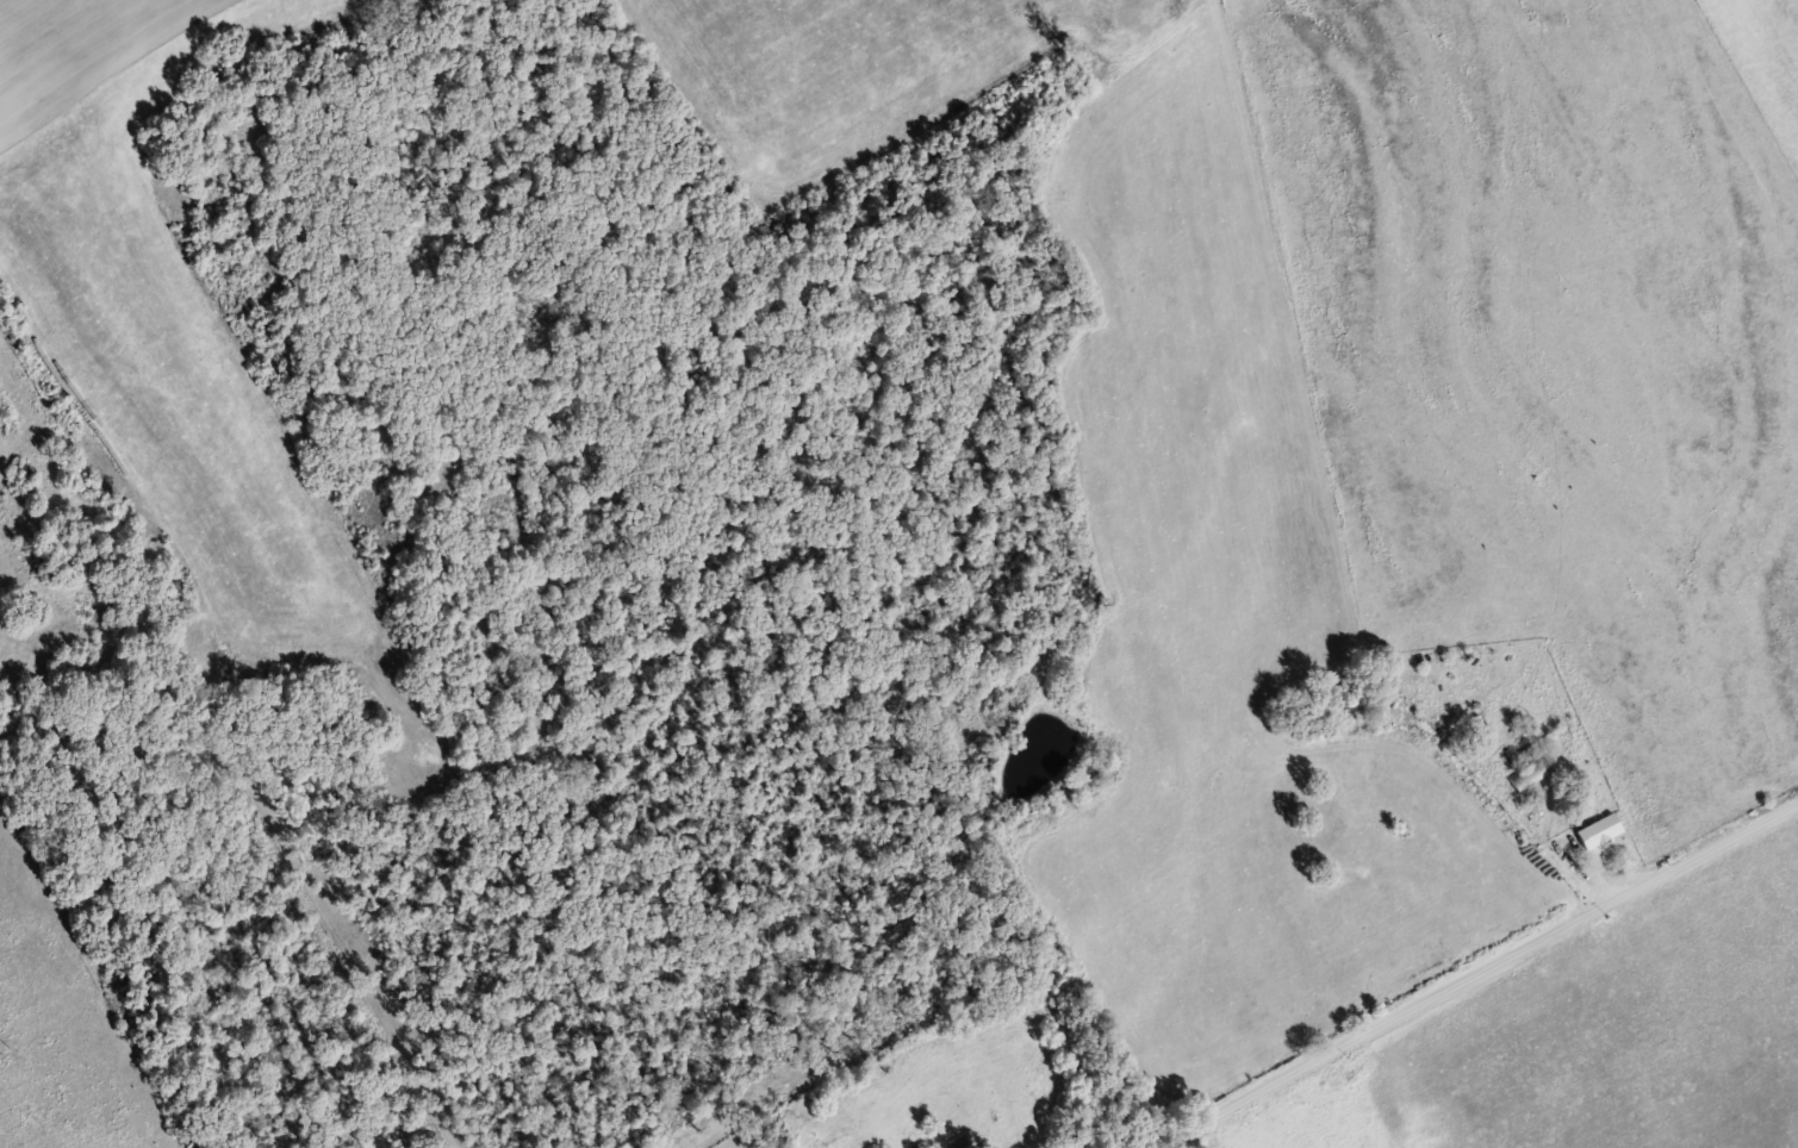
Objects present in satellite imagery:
building: (1522, 774)
building: (1593, 829)
road: (1467, 968)
power tower: (1, 1048)

